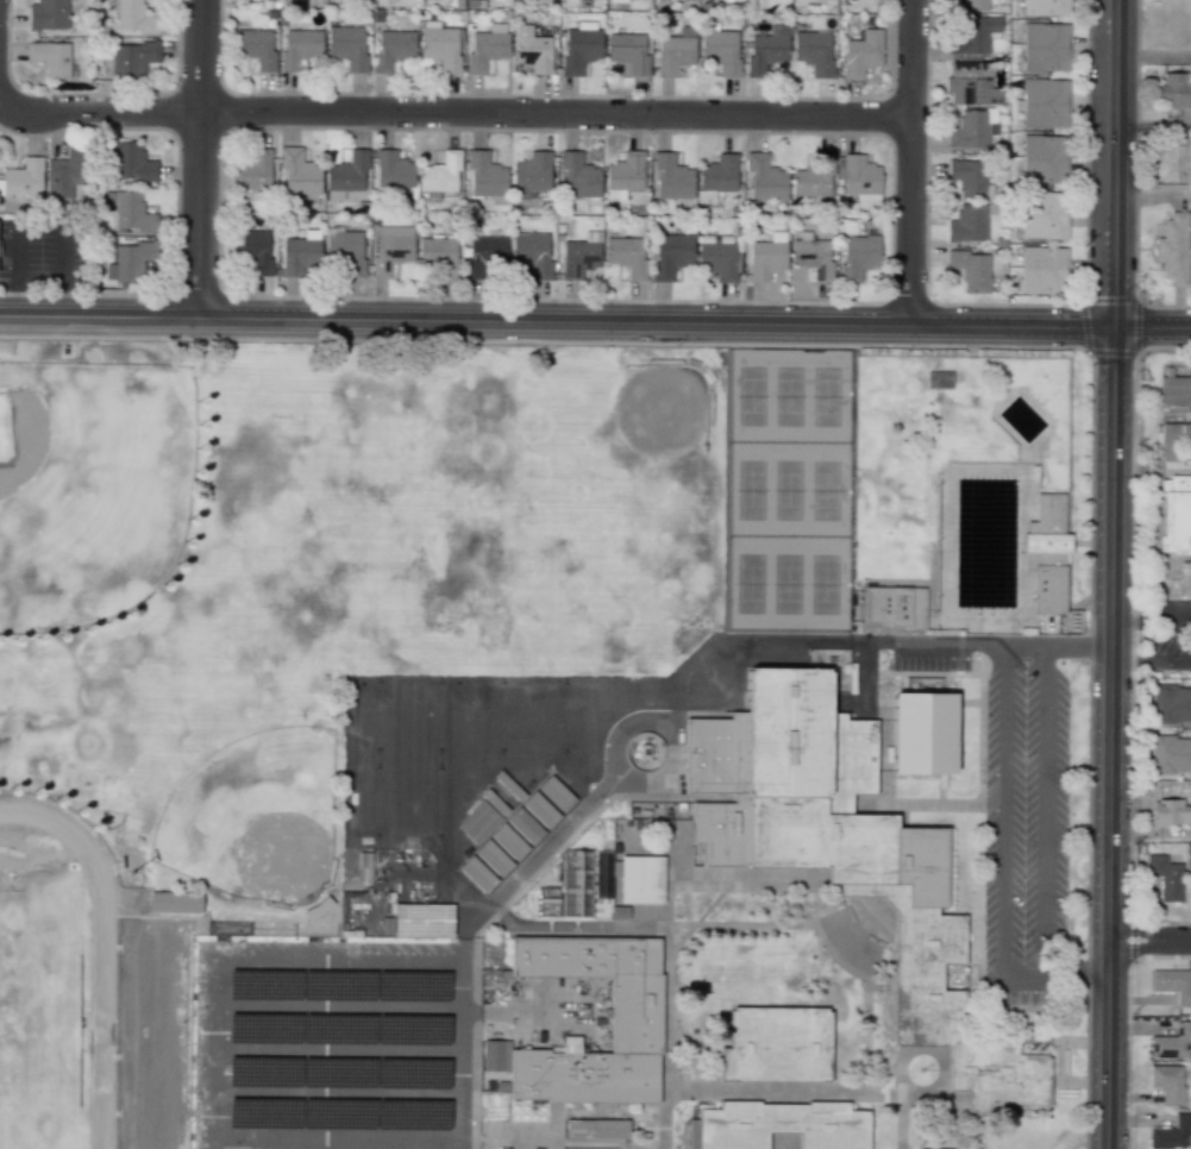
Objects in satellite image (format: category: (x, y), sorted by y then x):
building: (616, 1)
building: (972, 5)
building: (1045, 7)
building: (46, 14)
building: (133, 17)
building: (972, 33)
building: (255, 46)
building: (347, 46)
building: (439, 46)
building: (579, 46)
building: (1045, 46)
building: (299, 48)
building: (485, 48)
building: (391, 49)
building: (766, 49)
building: (531, 50)
building: (628, 51)
building: (720, 51)
building: (813, 51)
building: (673, 54)
building: (861, 54)
building: (50, 57)
road: (1154, 57)
building: (132, 59)
street lamp: (13, 81)
building: (969, 83)
building: (1174, 90)
building: (1043, 102)
road: (453, 113)
road: (1153, 124)
building: (971, 128)
building: (1183, 149)
road: (196, 158)
building: (1042, 159)
building: (130, 162)
road: (909, 162)
road: (1115, 163)
building: (250, 170)
building: (391, 170)
building: (63, 172)
building: (299, 172)
building: (347, 172)
building: (529, 174)
building: (719, 174)
building: (623, 175)
building: (485, 176)
building: (439, 177)
building: (671, 177)
building: (967, 177)
building: (23, 178)
building: (578, 178)
building: (765, 178)
building: (813, 178)
building: (858, 180)
building: (128, 211)
building: (1042, 215)
building: (967, 222)
building: (390, 247)
building: (251, 249)
building: (1172, 249)
building: (344, 251)
building: (531, 253)
building: (484, 255)
building: (626, 255)
building: (671, 255)
building: (438, 256)
building: (811, 256)
building: (857, 256)
building: (299, 257)
building: (766, 257)
building: (578, 258)
building: (717, 259)
building: (131, 260)
building: (970, 270)
building: (1042, 270)
traffic signals: (1114, 294)
street lamp: (930, 295)
road: (557, 321)
traffic signals: (1074, 327)
traffic signals: (1147, 328)
road: (1152, 328)
street lamp: (208, 340)
street lamp: (676, 346)
street lamp: (908, 347)
traffic signals: (1115, 364)
building: (1176, 391)
building: (1174, 442)
park: (88, 488)
park: (789, 489)
building: (1176, 515)
park: (330, 522)
building: (1049, 552)
building: (895, 608)
road: (1151, 616)
road: (915, 646)
road: (1058, 649)
road: (1151, 661)
building: (1171, 704)
road: (670, 729)
building: (926, 734)
road: (1110, 737)
park: (447, 748)
building: (1171, 754)
building: (509, 786)
building: (557, 793)
building: (495, 803)
parking lot: (1017, 804)
building: (541, 810)
road: (1047, 810)
building: (1170, 812)
park: (256, 817)
building: (478, 823)
building: (525, 827)
building: (509, 843)
building: (848, 856)
building: (494, 858)
road: (1004, 861)
building: (478, 874)
building: (1164, 877)
building: (641, 880)
building: (568, 889)
building: (174, 902)
building: (425, 921)
road: (471, 931)
road: (1149, 940)
road: (343, 968)
track: (56, 979)
building: (1172, 985)
park: (43, 994)
road: (341, 1005)
building: (637, 1007)
building: (1171, 1042)
parking lot: (333, 1046)
building: (777, 1047)
road: (340, 1051)
building: (493, 1055)
road: (218, 1057)
building: (1167, 1082)
road: (340, 1097)
building: (779, 1126)
building: (601, 1128)
building: (1171, 1134)
road: (339, 1141)

